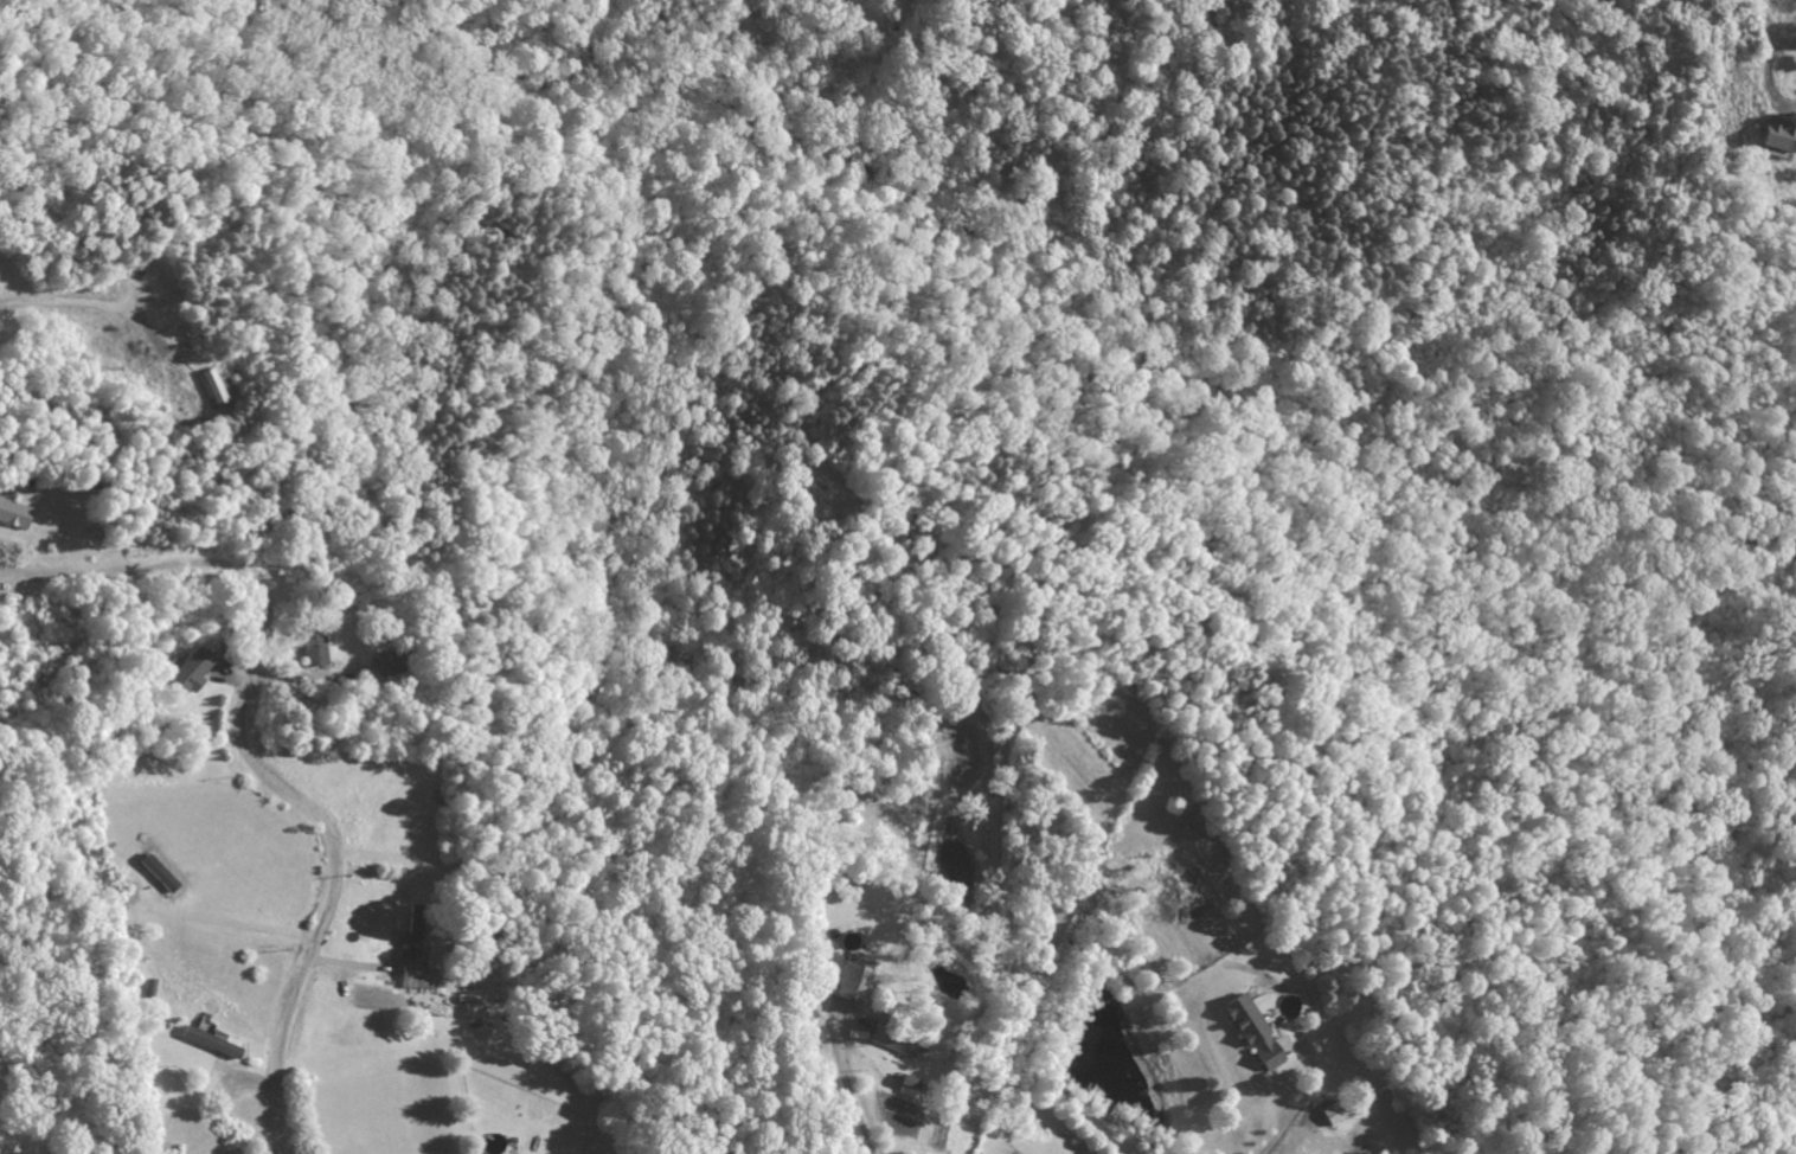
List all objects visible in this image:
building: (1779, 135)
road: (64, 303)
building: (212, 389)
building: (13, 514)
building: (313, 649)
building: (187, 674)
road: (259, 756)
road: (1184, 915)
road: (907, 924)
building: (417, 977)
building: (852, 982)
building: (1251, 1031)
building: (892, 1041)
building: (211, 1043)
building: (906, 1084)
building: (1334, 1110)

